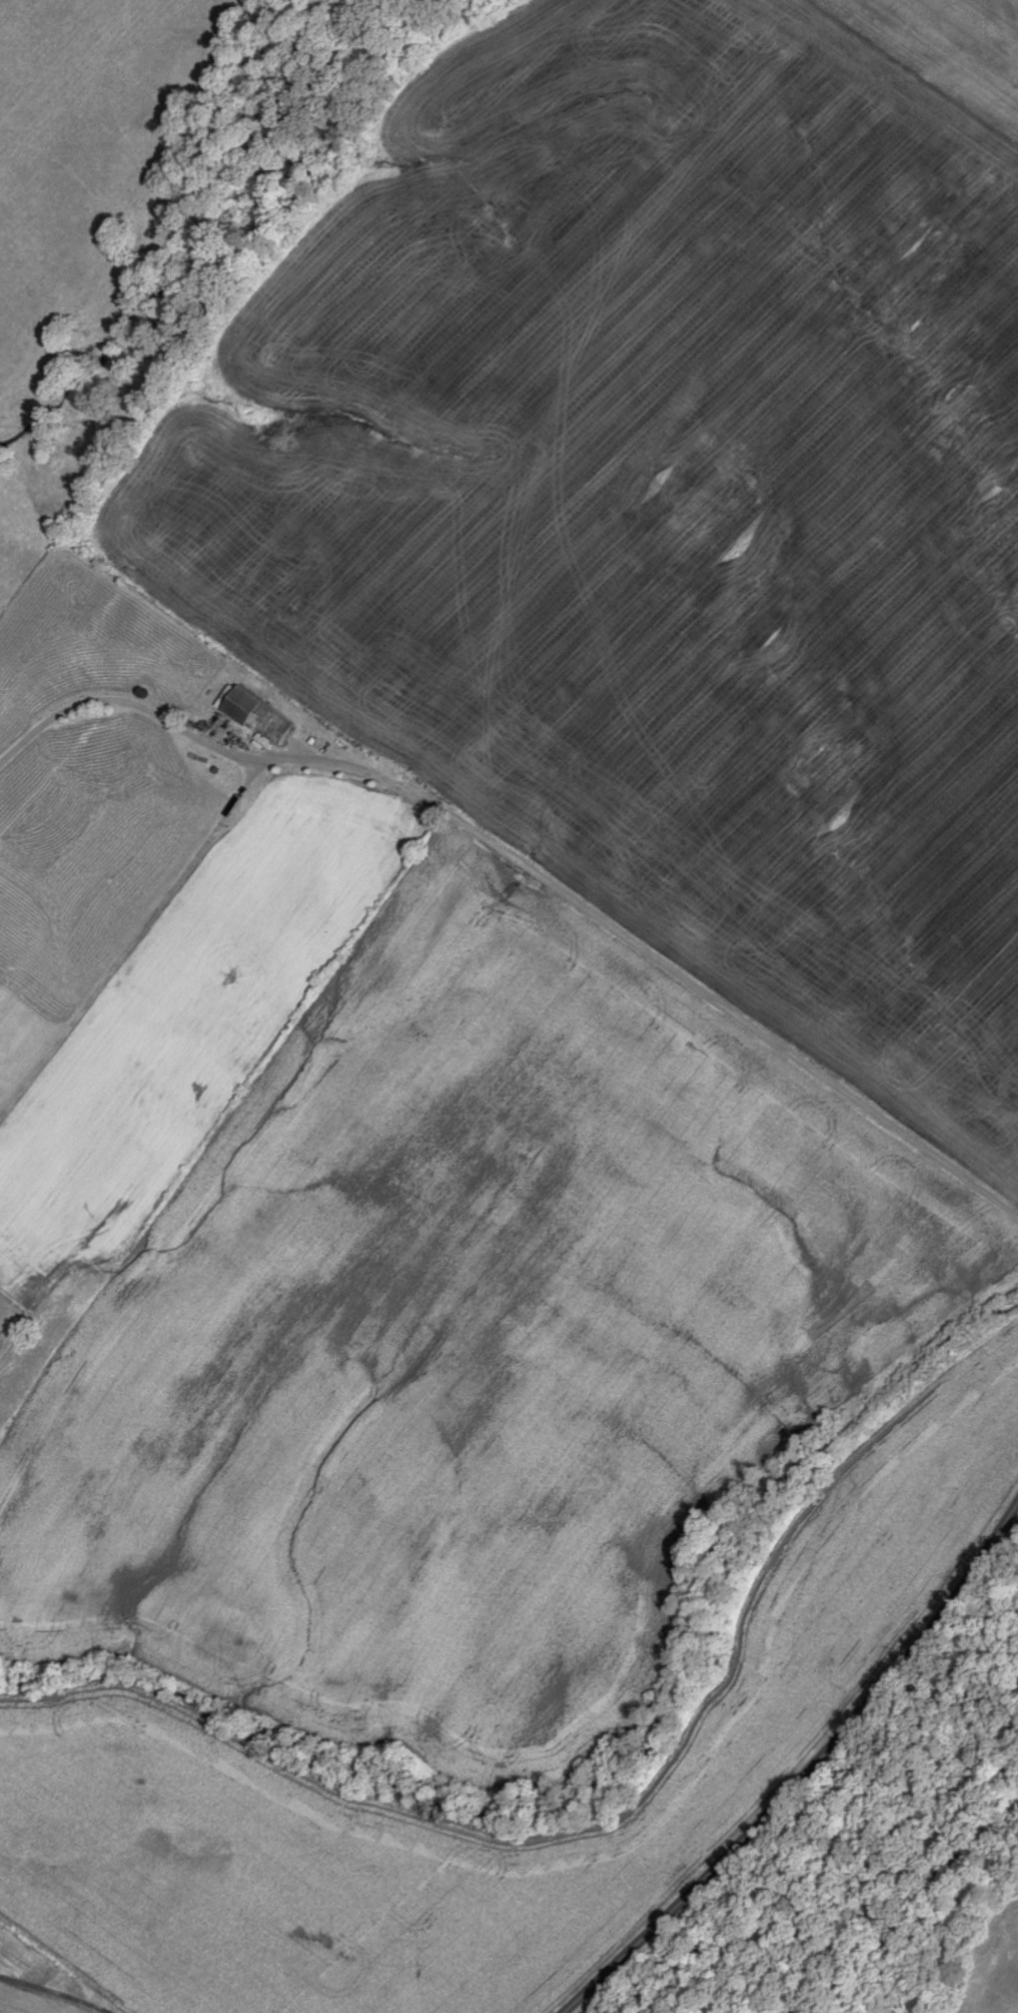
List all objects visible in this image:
road: (127, 705)
building: (263, 716)
road: (471, 831)
road: (809, 1773)
road: (53, 1993)

